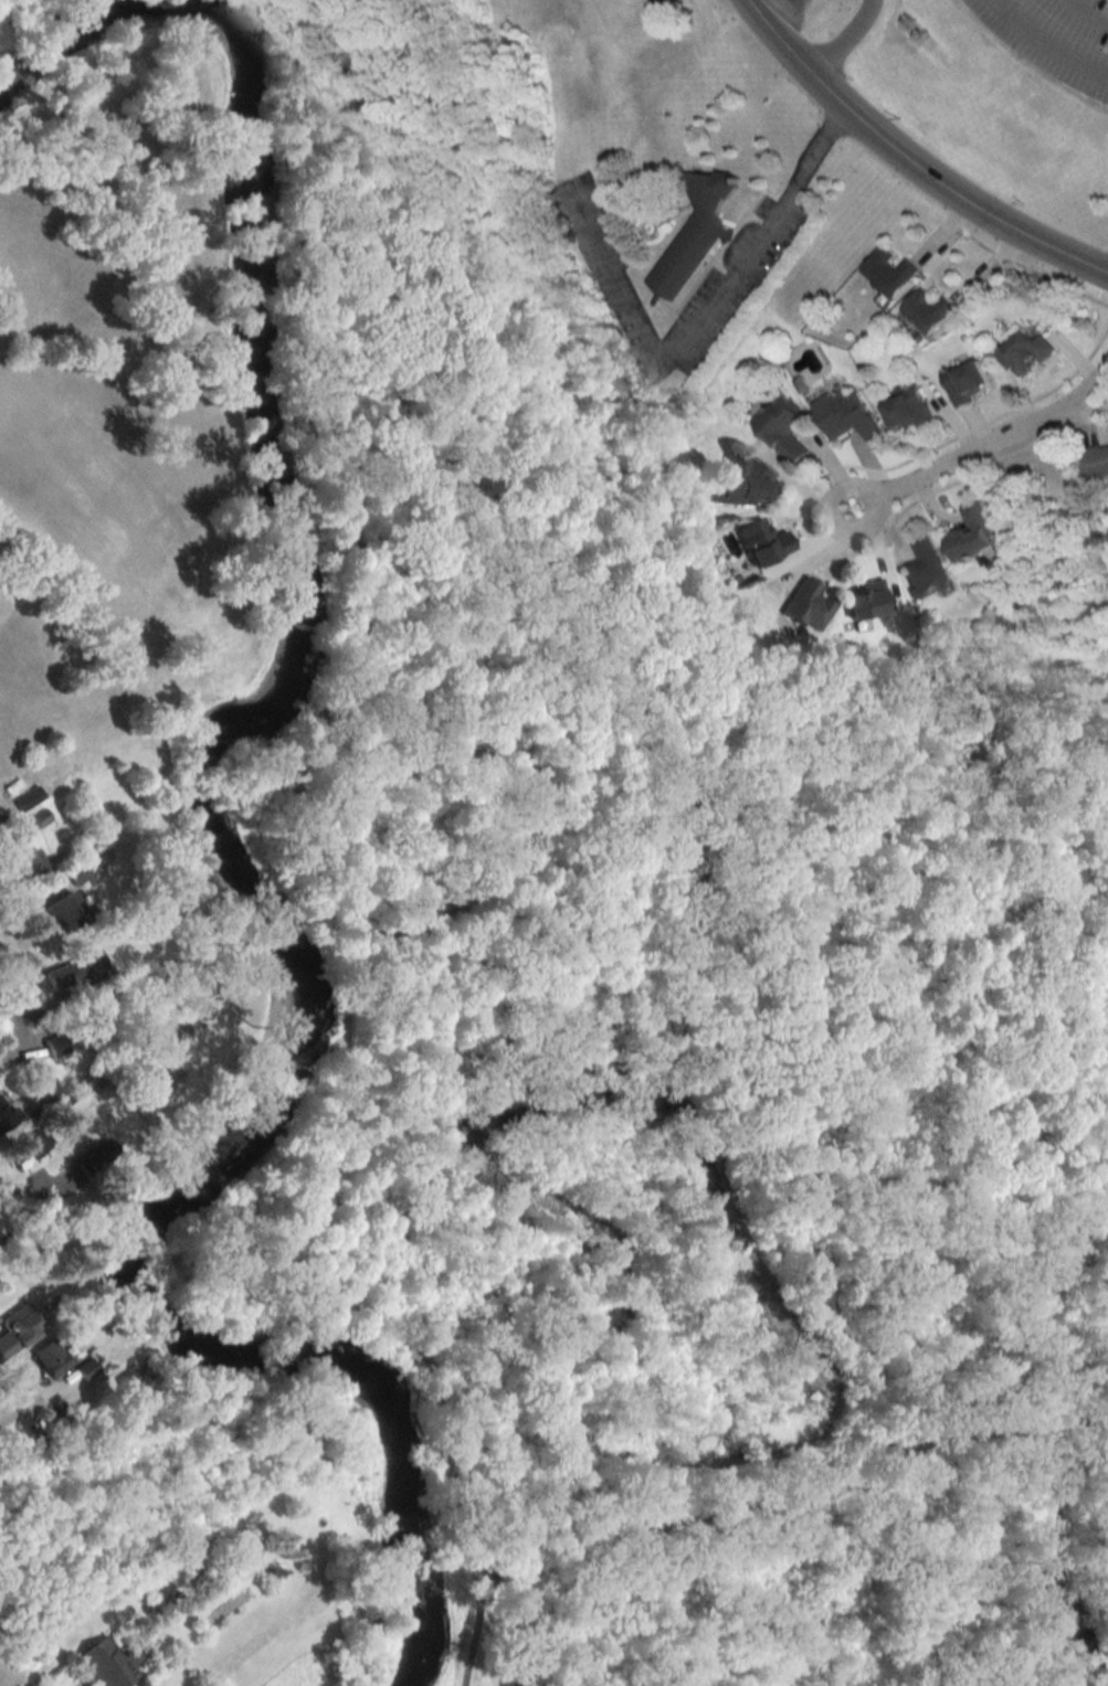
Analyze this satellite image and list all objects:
road: (0, 0)
road: (307, 10)
park: (29, 14)
road: (843, 40)
road: (1048, 43)
road: (906, 162)
building: (695, 231)
road: (762, 231)
building: (890, 273)
building: (928, 310)
building: (1026, 352)
building: (967, 382)
building: (907, 410)
building: (846, 413)
building: (783, 428)
road: (986, 448)
building: (1095, 460)
building: (745, 481)
building: (972, 537)
building: (761, 542)
building: (925, 568)
building: (864, 601)
building: (805, 604)
road: (692, 721)
building: (4, 745)
building: (27, 798)
river: (212, 835)
building: (29, 868)
building: (74, 873)
road: (328, 876)
building: (59, 913)
building: (72, 974)
park: (629, 1026)
road: (11, 1041)
building: (52, 1046)
building: (8, 1109)
building: (28, 1147)
road: (32, 1213)
building: (17, 1327)
building: (49, 1358)
building: (85, 1369)
road: (32, 1403)
road: (1104, 1429)
road: (795, 1501)
road: (1095, 1539)
building: (219, 1565)
building: (103, 1665)

